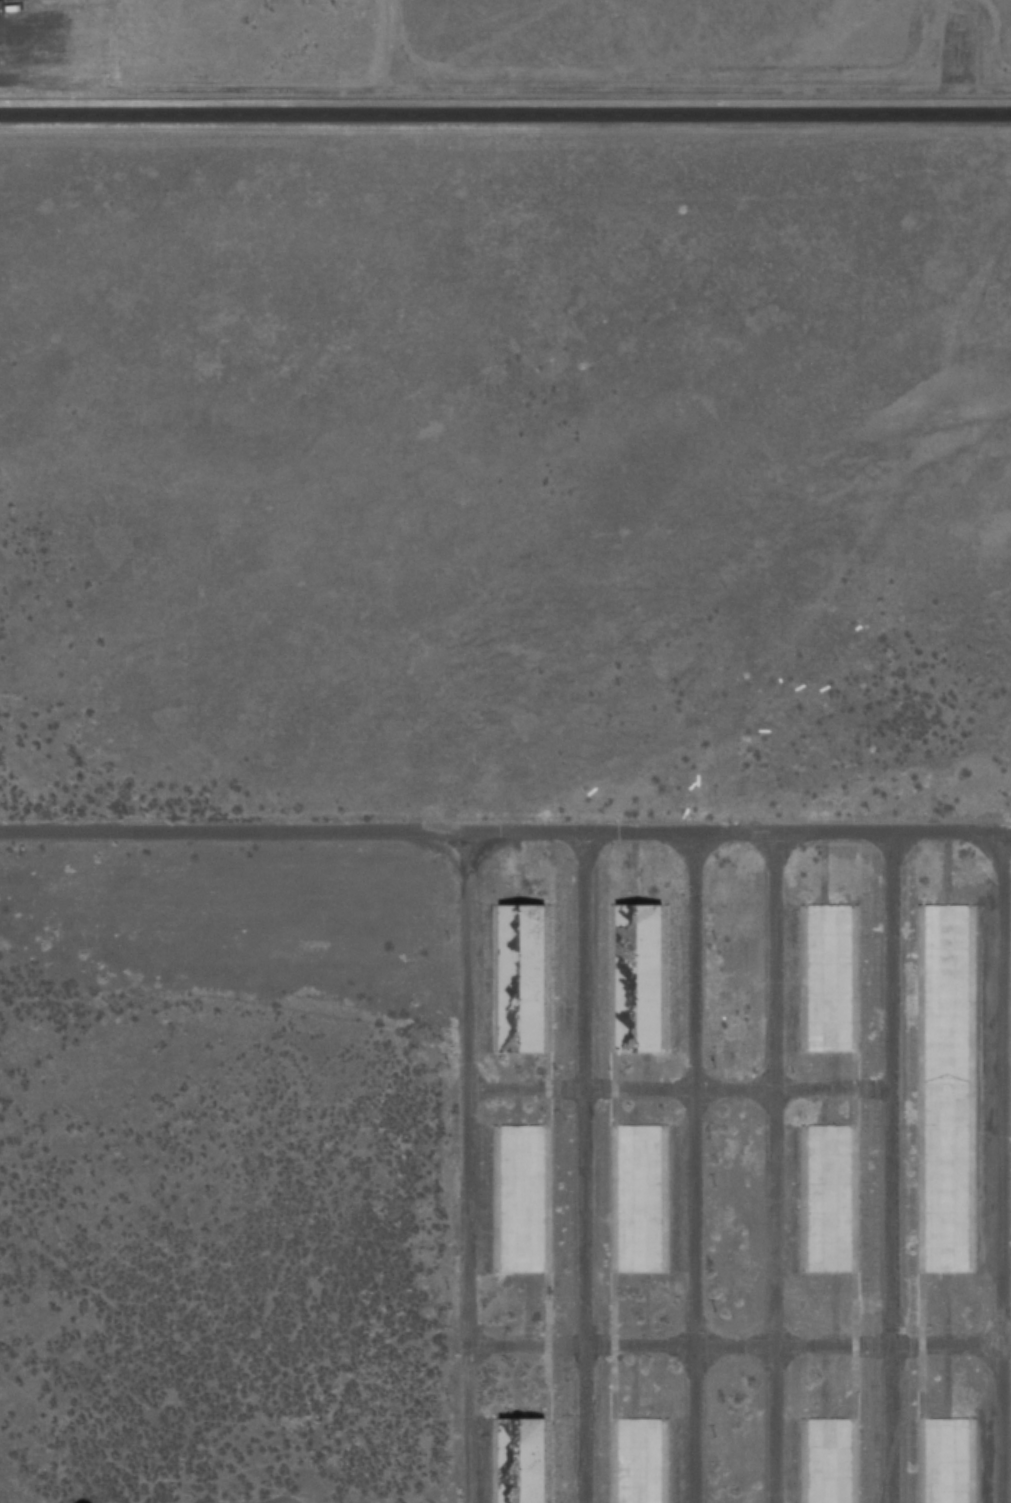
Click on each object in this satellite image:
road: (505, 115)
road: (505, 833)
building: (643, 969)
building: (523, 972)
building: (829, 978)
building: (946, 1088)
road: (767, 1166)
road: (466, 1168)
road: (692, 1168)
road: (1000, 1169)
railway: (872, 1185)
railway: (555, 1186)
railway: (568, 1186)
railway: (604, 1188)
building: (522, 1198)
building: (639, 1198)
building: (829, 1199)
building: (519, 1457)
building: (640, 1461)
building: (829, 1461)
building: (946, 1461)

